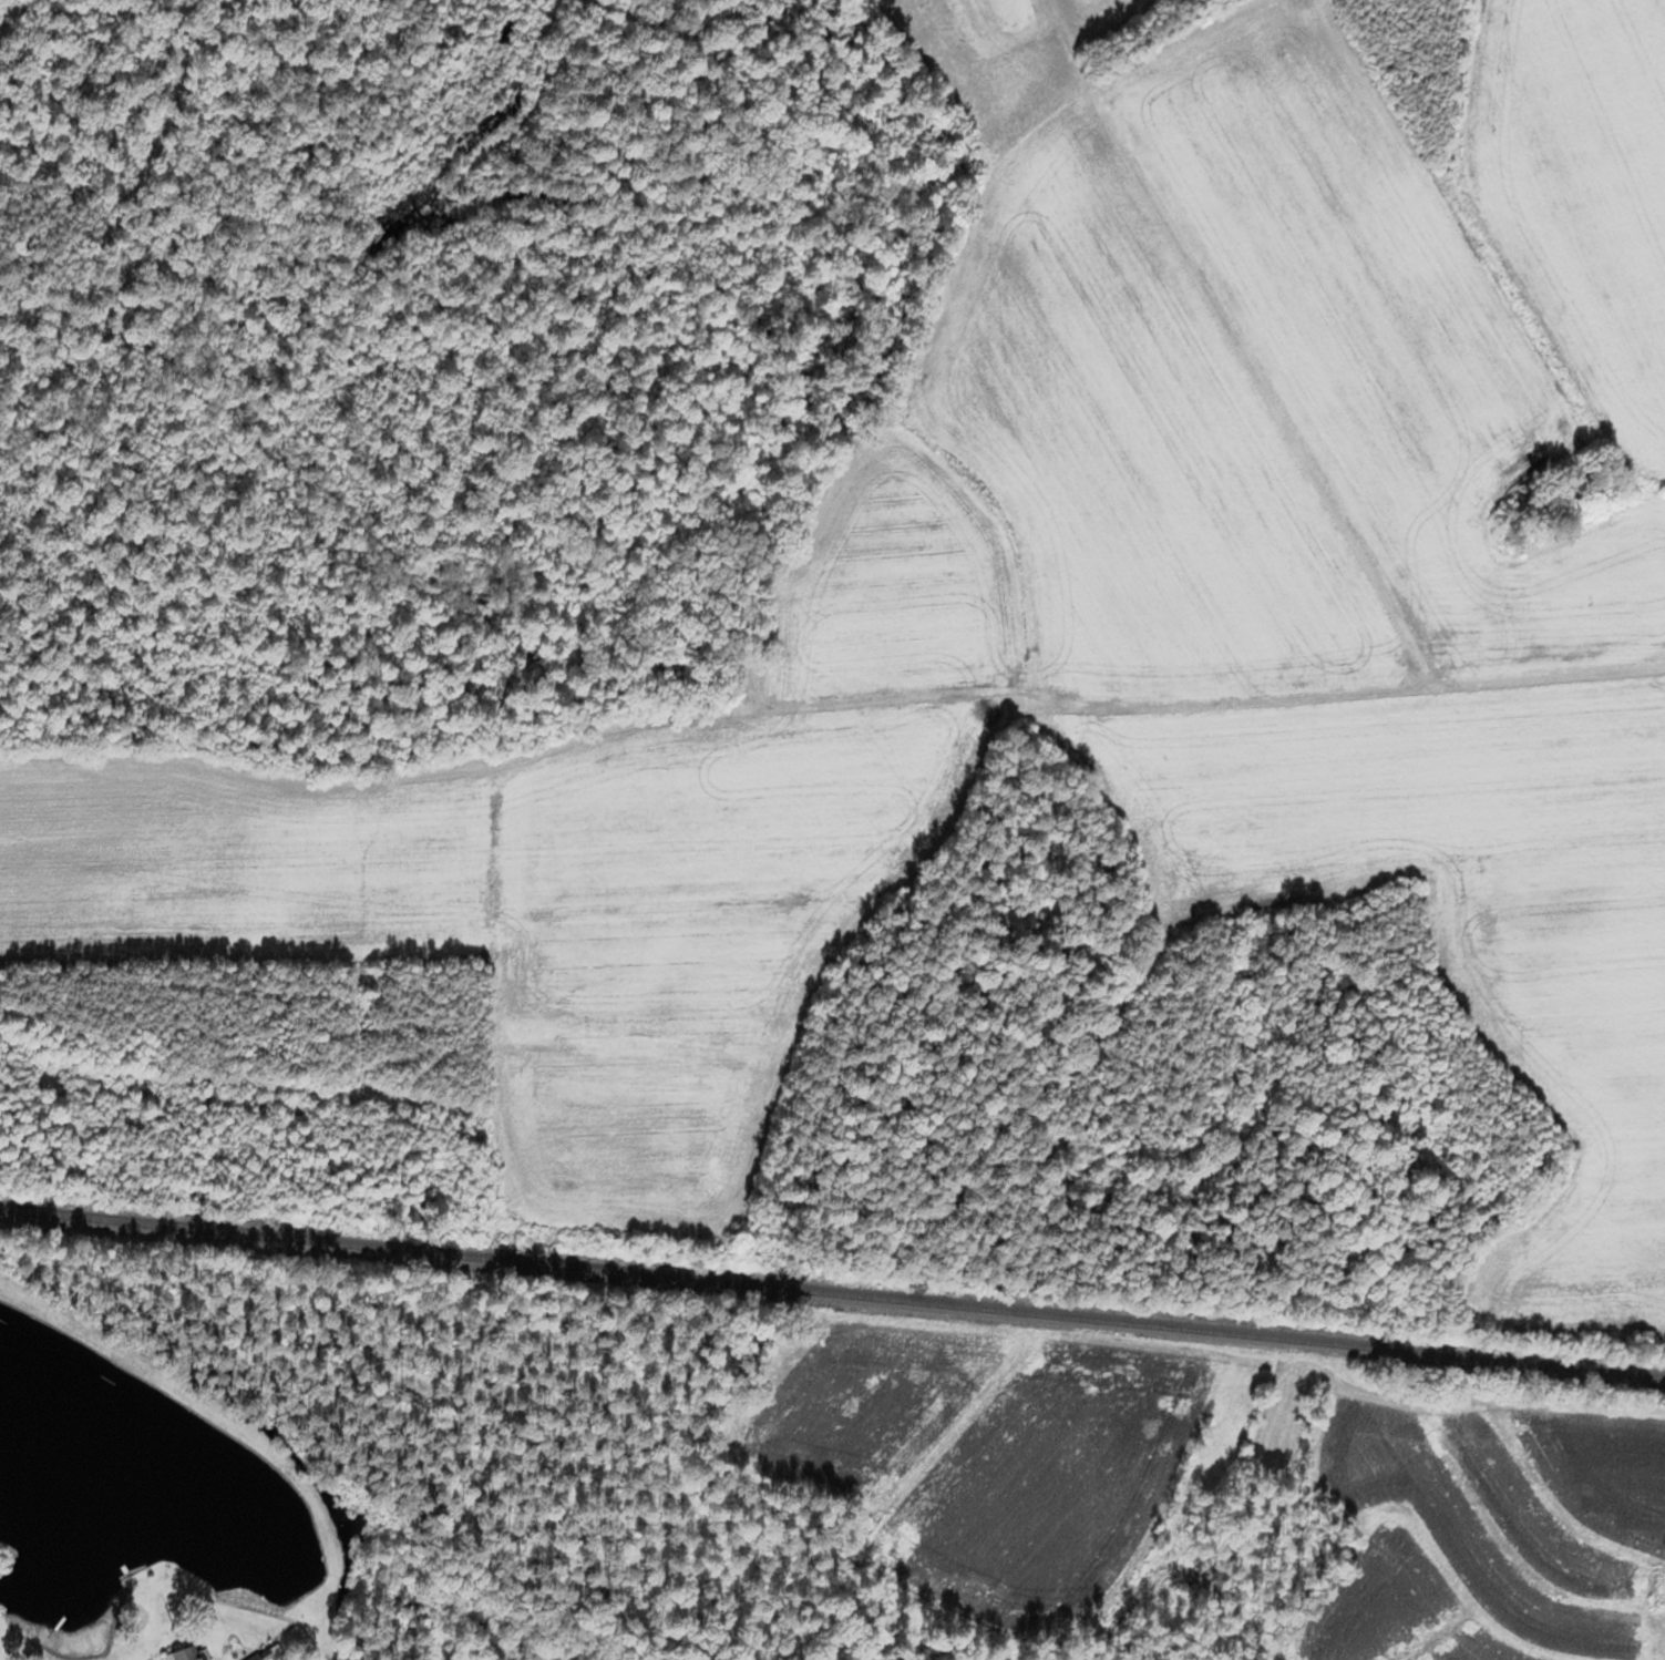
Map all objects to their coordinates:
railway: (832, 1292)
building: (184, 1653)
building: (213, 1658)

